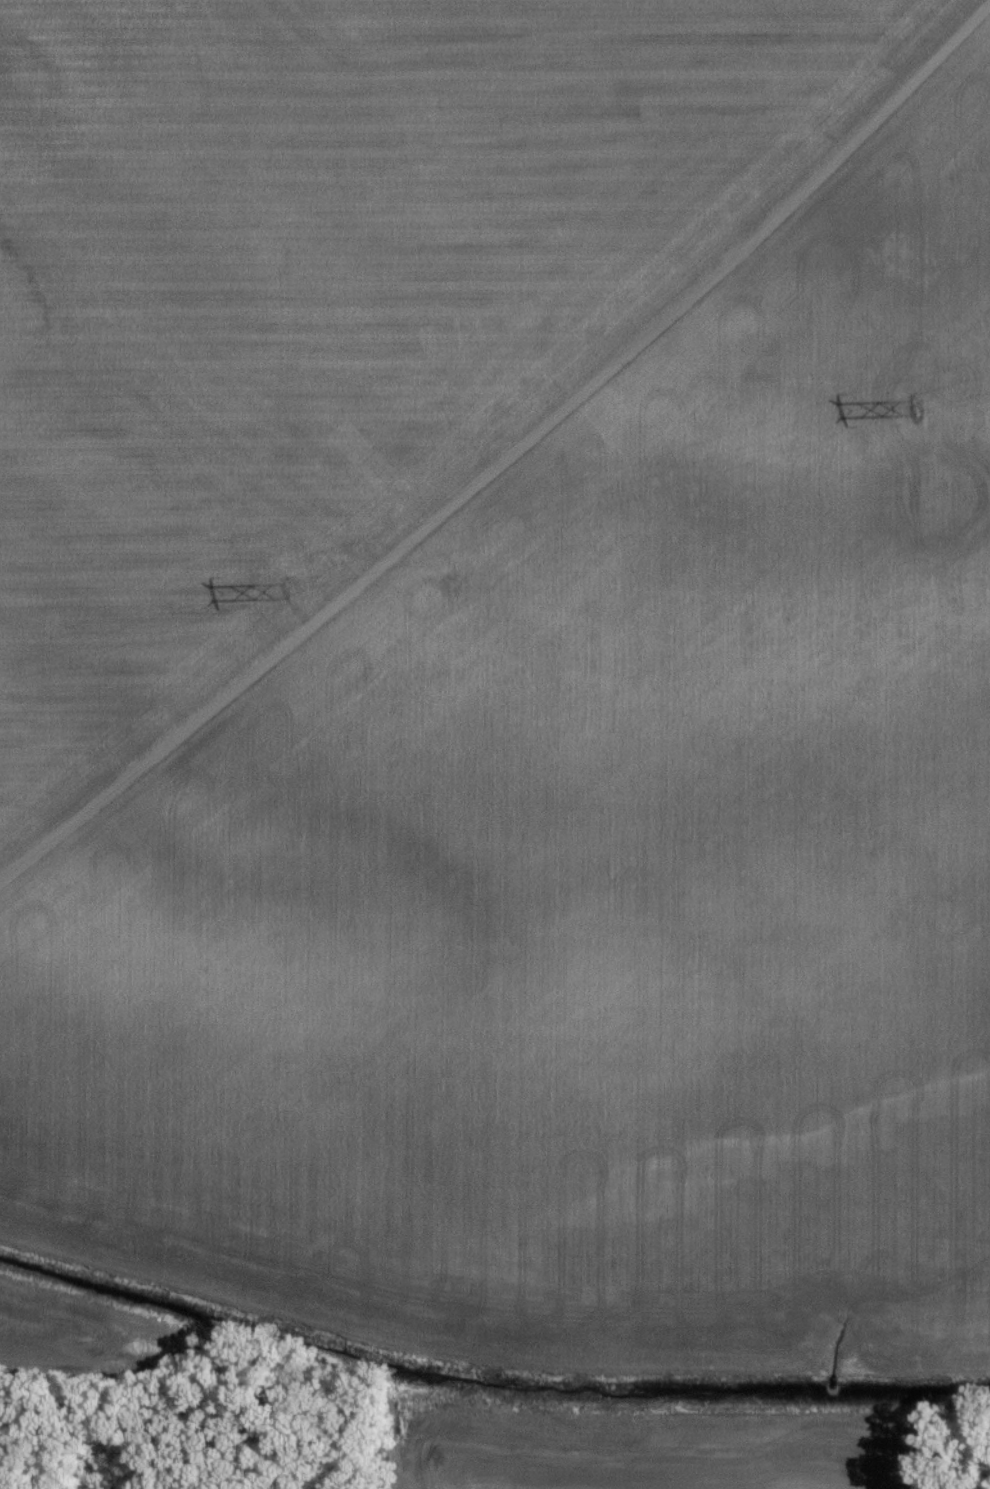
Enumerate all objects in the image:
power tower: (914, 414)
road: (514, 459)
power tower: (286, 597)

